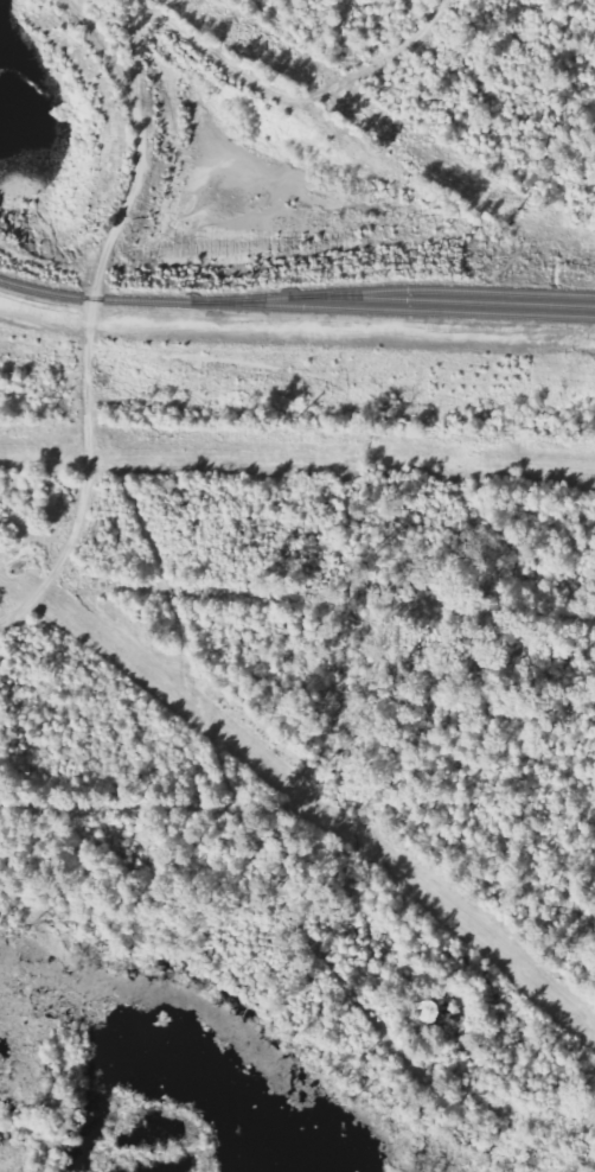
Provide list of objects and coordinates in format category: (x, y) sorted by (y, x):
railway: (397, 289)
railway: (459, 300)
railway: (295, 305)
road: (84, 312)

